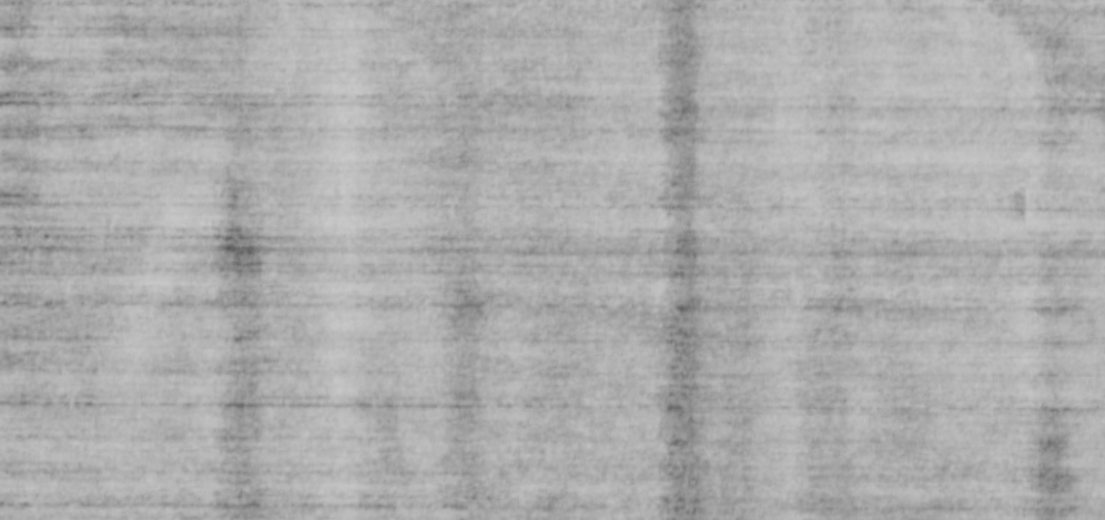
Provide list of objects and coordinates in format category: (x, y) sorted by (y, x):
crop: (552, 259)

